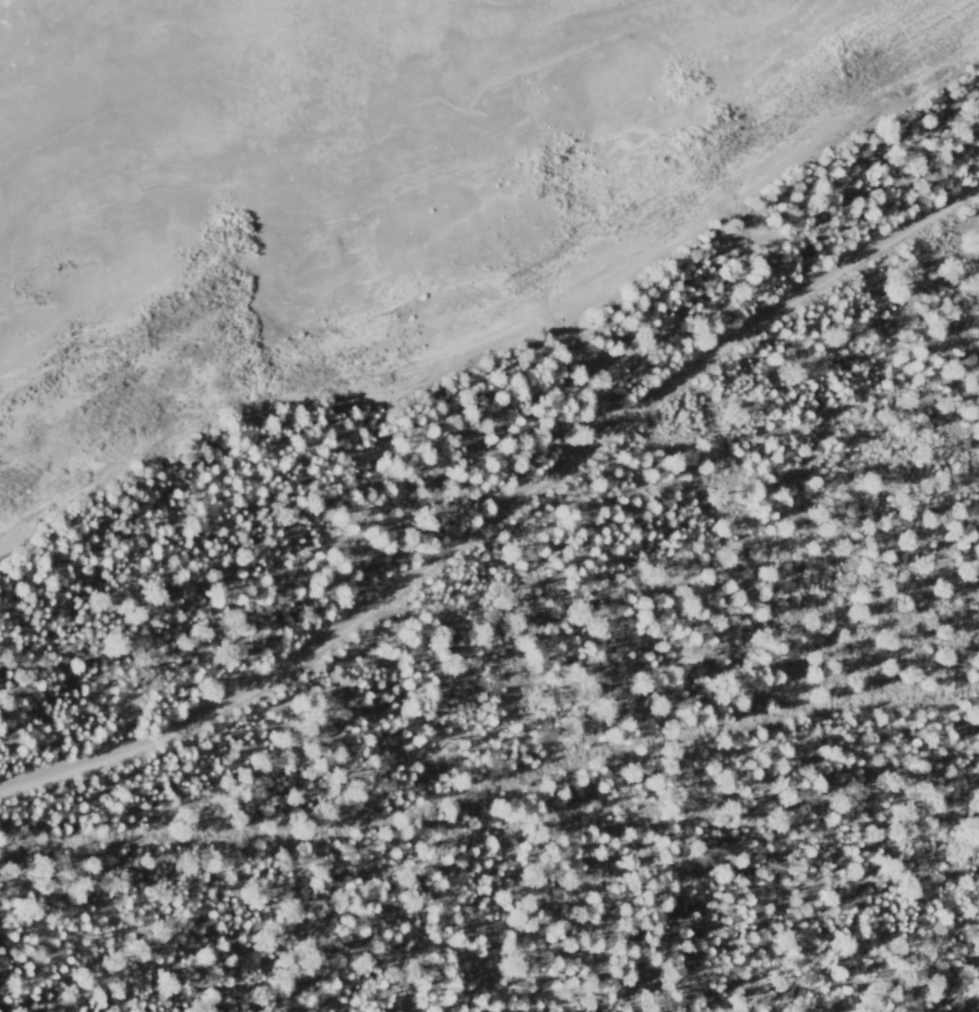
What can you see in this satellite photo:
road: (590, 375)
road: (500, 507)
road: (491, 785)

